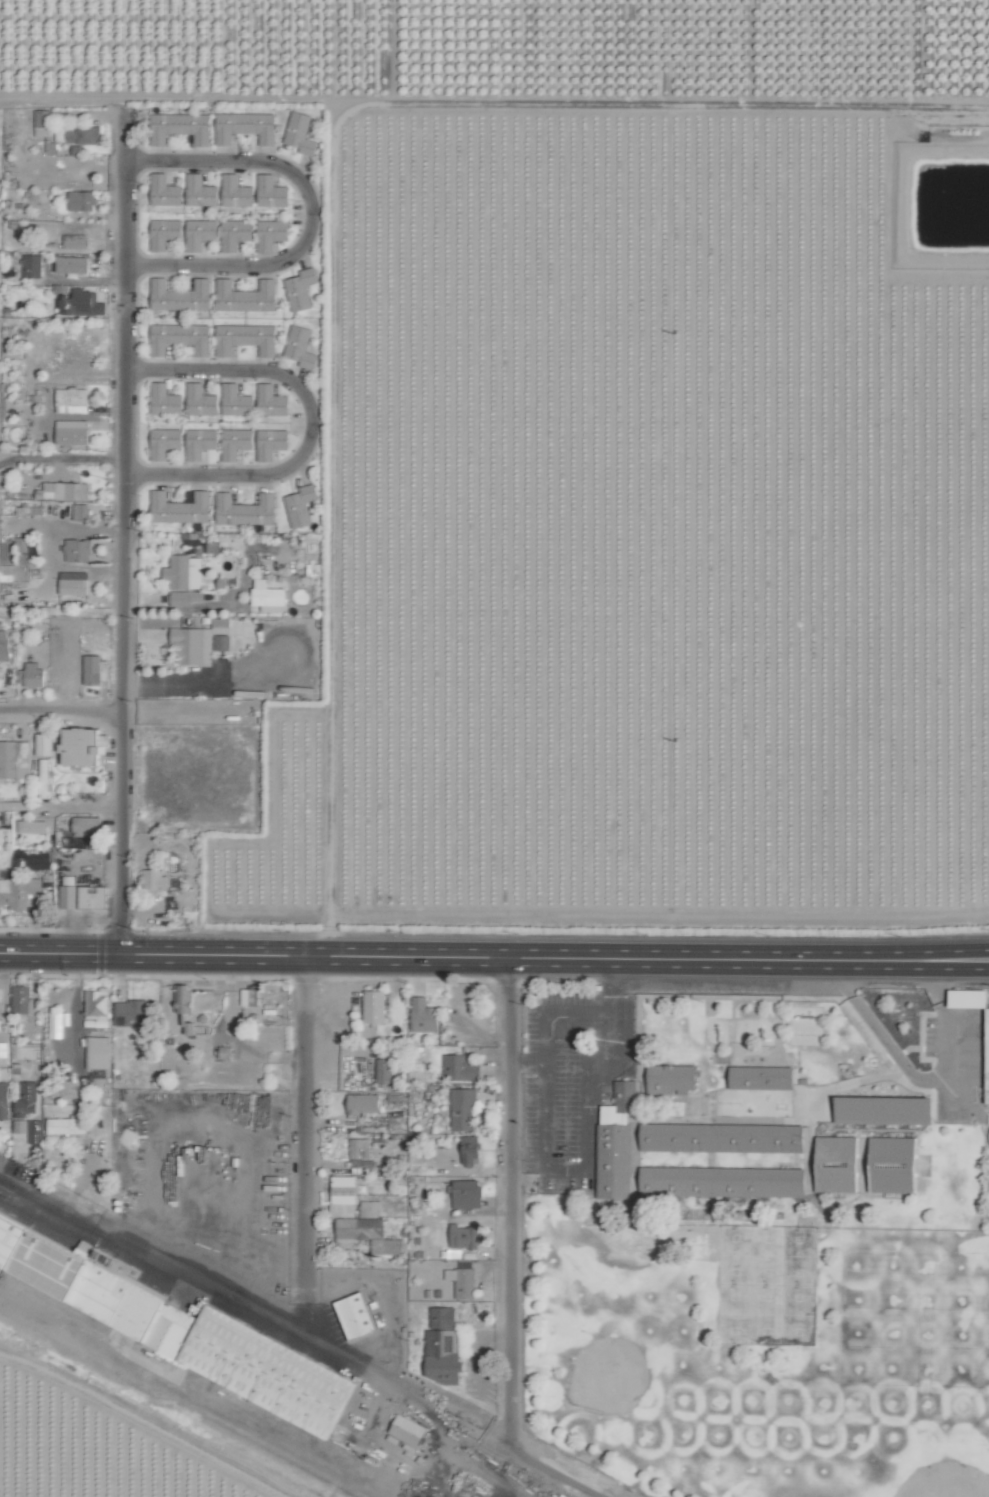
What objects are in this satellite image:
road: (546, 90)
building: (43, 123)
building: (245, 127)
building: (180, 128)
building: (299, 133)
building: (78, 135)
building: (165, 191)
building: (200, 191)
building: (236, 192)
building: (272, 192)
building: (82, 201)
road: (314, 214)
building: (164, 233)
building: (200, 234)
building: (235, 234)
building: (271, 234)
building: (76, 242)
building: (73, 265)
building: (32, 266)
building: (301, 289)
building: (180, 296)
building: (246, 296)
building: (83, 304)
building: (180, 338)
building: (245, 339)
building: (300, 347)
building: (71, 401)
building: (165, 401)
building: (201, 401)
building: (236, 401)
building: (272, 401)
road: (313, 423)
building: (72, 433)
building: (164, 443)
building: (200, 443)
building: (235, 443)
building: (271, 443)
crop: (630, 449)
road: (61, 456)
building: (67, 491)
building: (300, 506)
building: (180, 508)
building: (245, 510)
building: (81, 513)
road: (124, 532)
building: (78, 551)
building: (22, 552)
building: (185, 579)
building: (74, 583)
building: (268, 597)
building: (222, 635)
building: (4, 645)
building: (194, 646)
building: (96, 669)
building: (32, 674)
road: (200, 679)
road: (61, 711)
building: (43, 744)
building: (85, 745)
building: (15, 759)
road: (60, 806)
building: (32, 826)
building: (89, 828)
building: (153, 879)
building: (20, 893)
building: (93, 896)
road: (748, 951)
road: (254, 955)
road: (748, 967)
road: (611, 991)
building: (183, 997)
building: (22, 998)
building: (96, 1004)
building: (0, 1005)
building: (374, 1006)
building: (132, 1013)
road: (550, 1015)
building: (425, 1016)
building: (53, 1025)
road: (944, 1027)
building: (191, 1028)
road: (878, 1035)
road: (608, 1046)
building: (3, 1049)
building: (98, 1052)
building: (226, 1053)
building: (986, 1055)
road: (527, 1065)
building: (460, 1068)
building: (384, 1069)
building: (764, 1077)
building: (674, 1078)
building: (27, 1099)
building: (5, 1101)
building: (364, 1103)
building: (463, 1109)
building: (886, 1110)
building: (66, 1125)
building: (29, 1129)
building: (723, 1138)
building: (616, 1142)
road: (304, 1147)
building: (360, 1148)
building: (471, 1150)
building: (839, 1164)
building: (895, 1166)
road: (565, 1171)
building: (722, 1182)
building: (468, 1194)
building: (343, 1196)
road: (510, 1202)
building: (370, 1230)
building: (464, 1236)
building: (462, 1282)
building: (360, 1315)
building: (171, 1321)
road: (301, 1337)
building: (444, 1346)
building: (408, 1431)
crop: (93, 1447)

